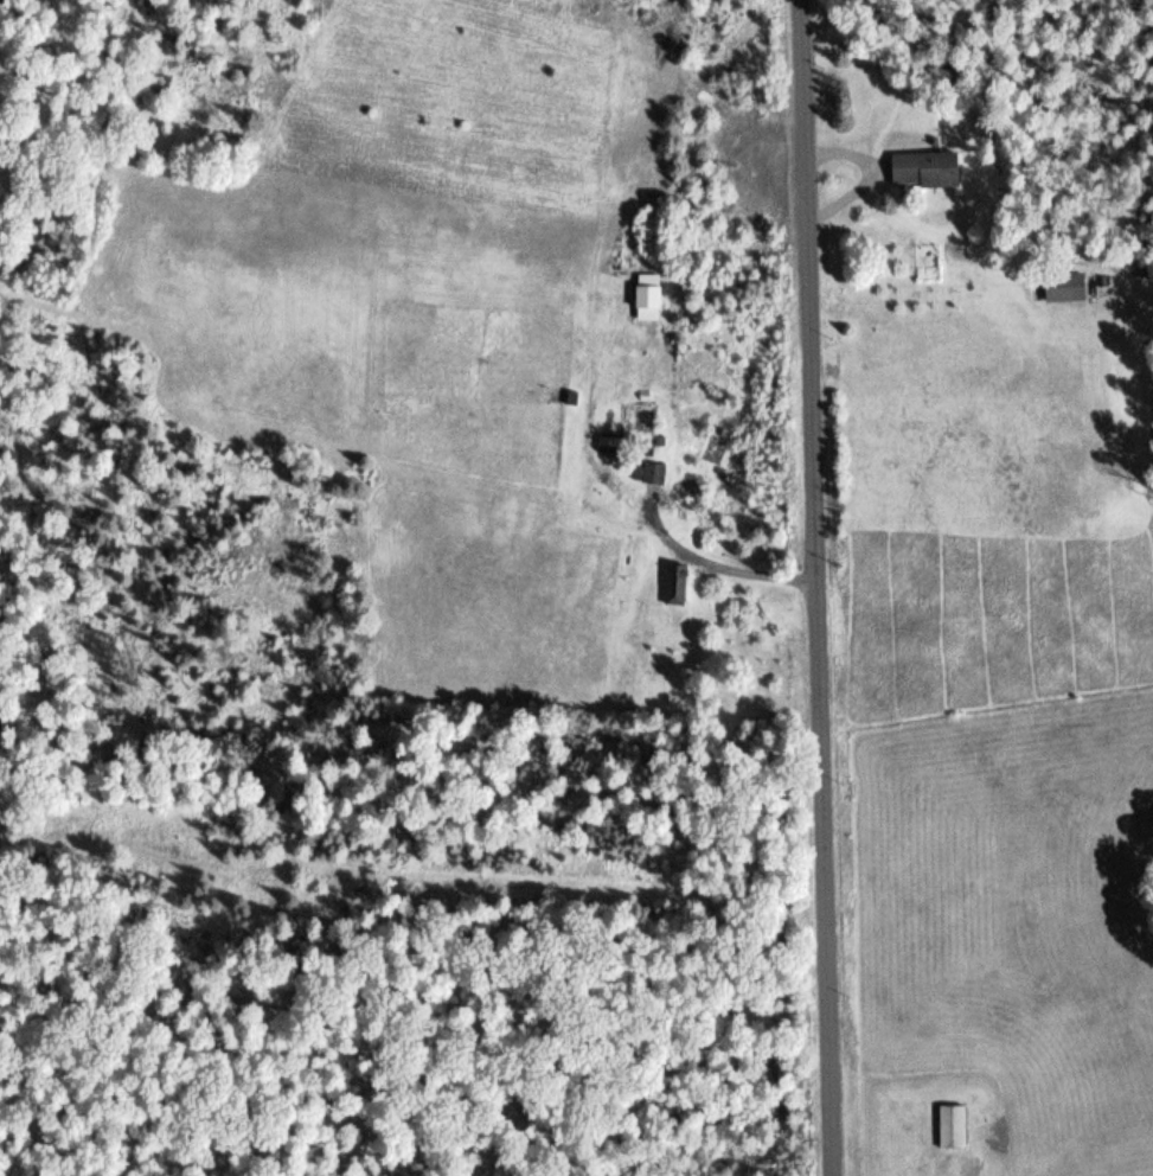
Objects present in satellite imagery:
building: (927, 170)
building: (1066, 287)
building: (651, 473)
building: (677, 584)
road: (815, 588)
building: (953, 1126)

